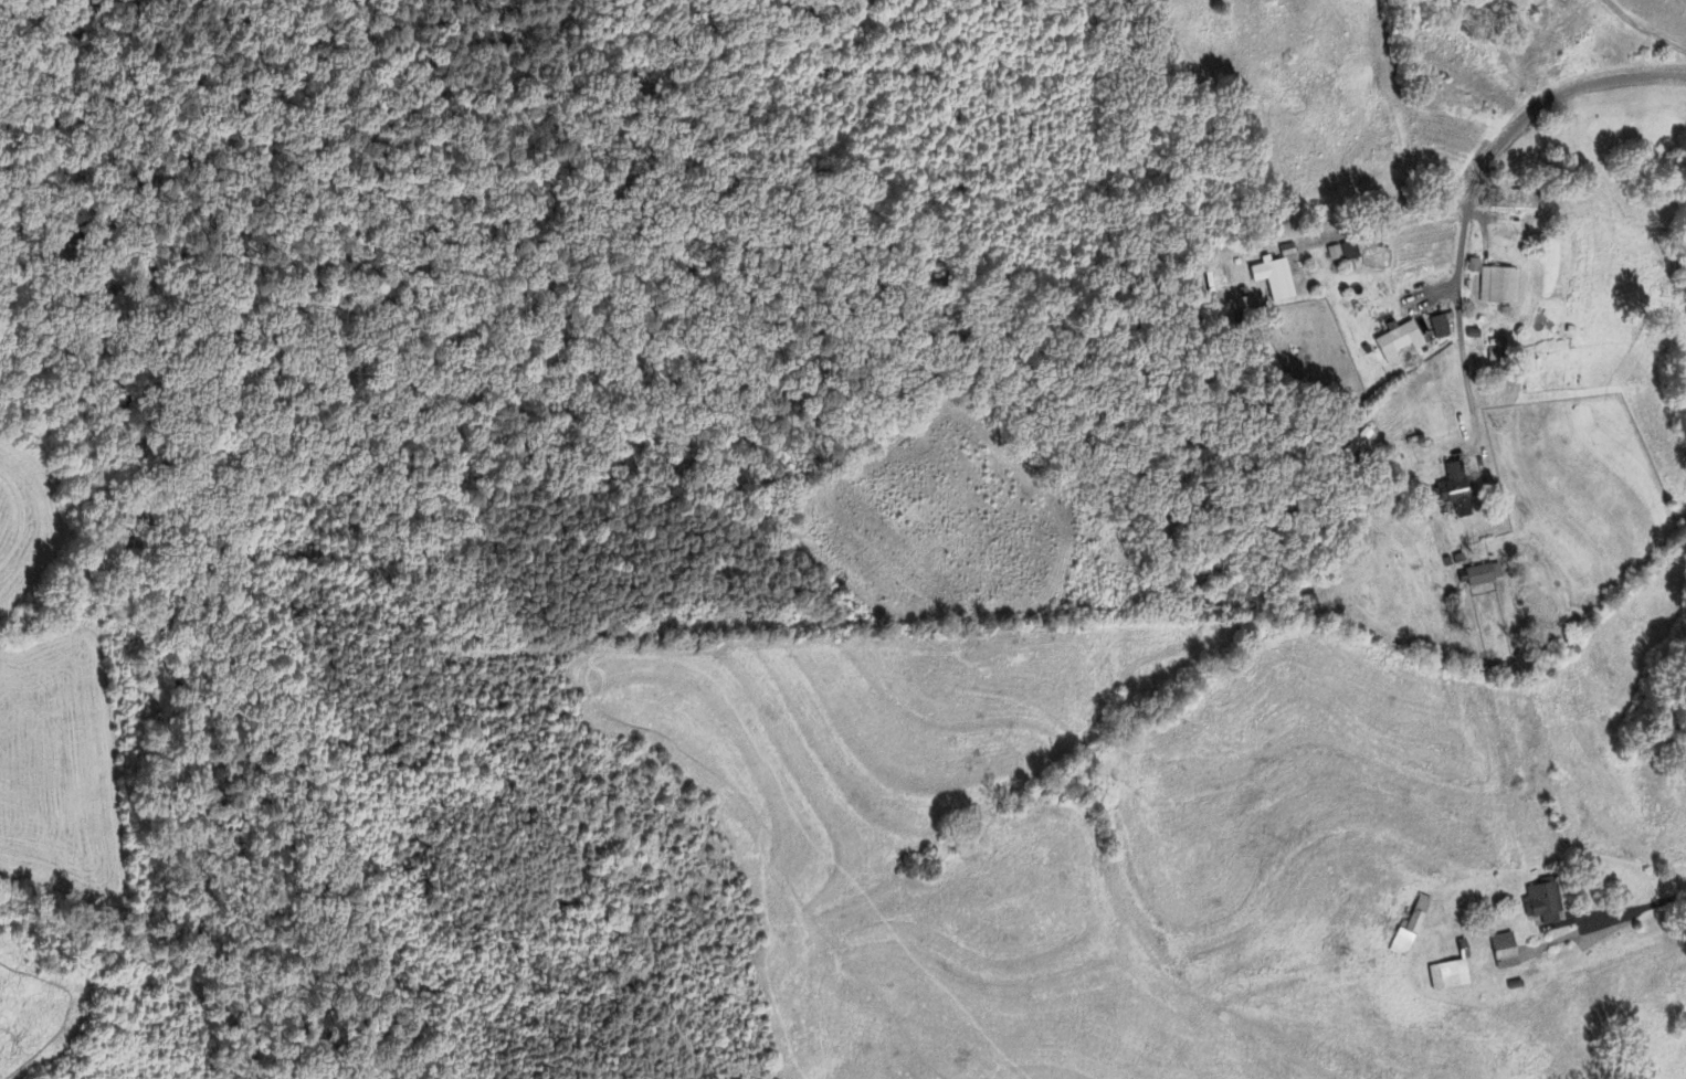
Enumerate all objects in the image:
road: (1644, 28)
road: (1472, 193)
building: (1513, 202)
road: (1370, 228)
building: (1341, 253)
building: (1274, 275)
building: (1497, 287)
building: (1440, 327)
building: (1395, 342)
building: (1357, 444)
building: (1453, 491)
building: (1482, 575)
building: (1543, 905)
road: (1630, 913)
building: (1408, 931)
building: (1503, 953)
building: (1447, 976)

